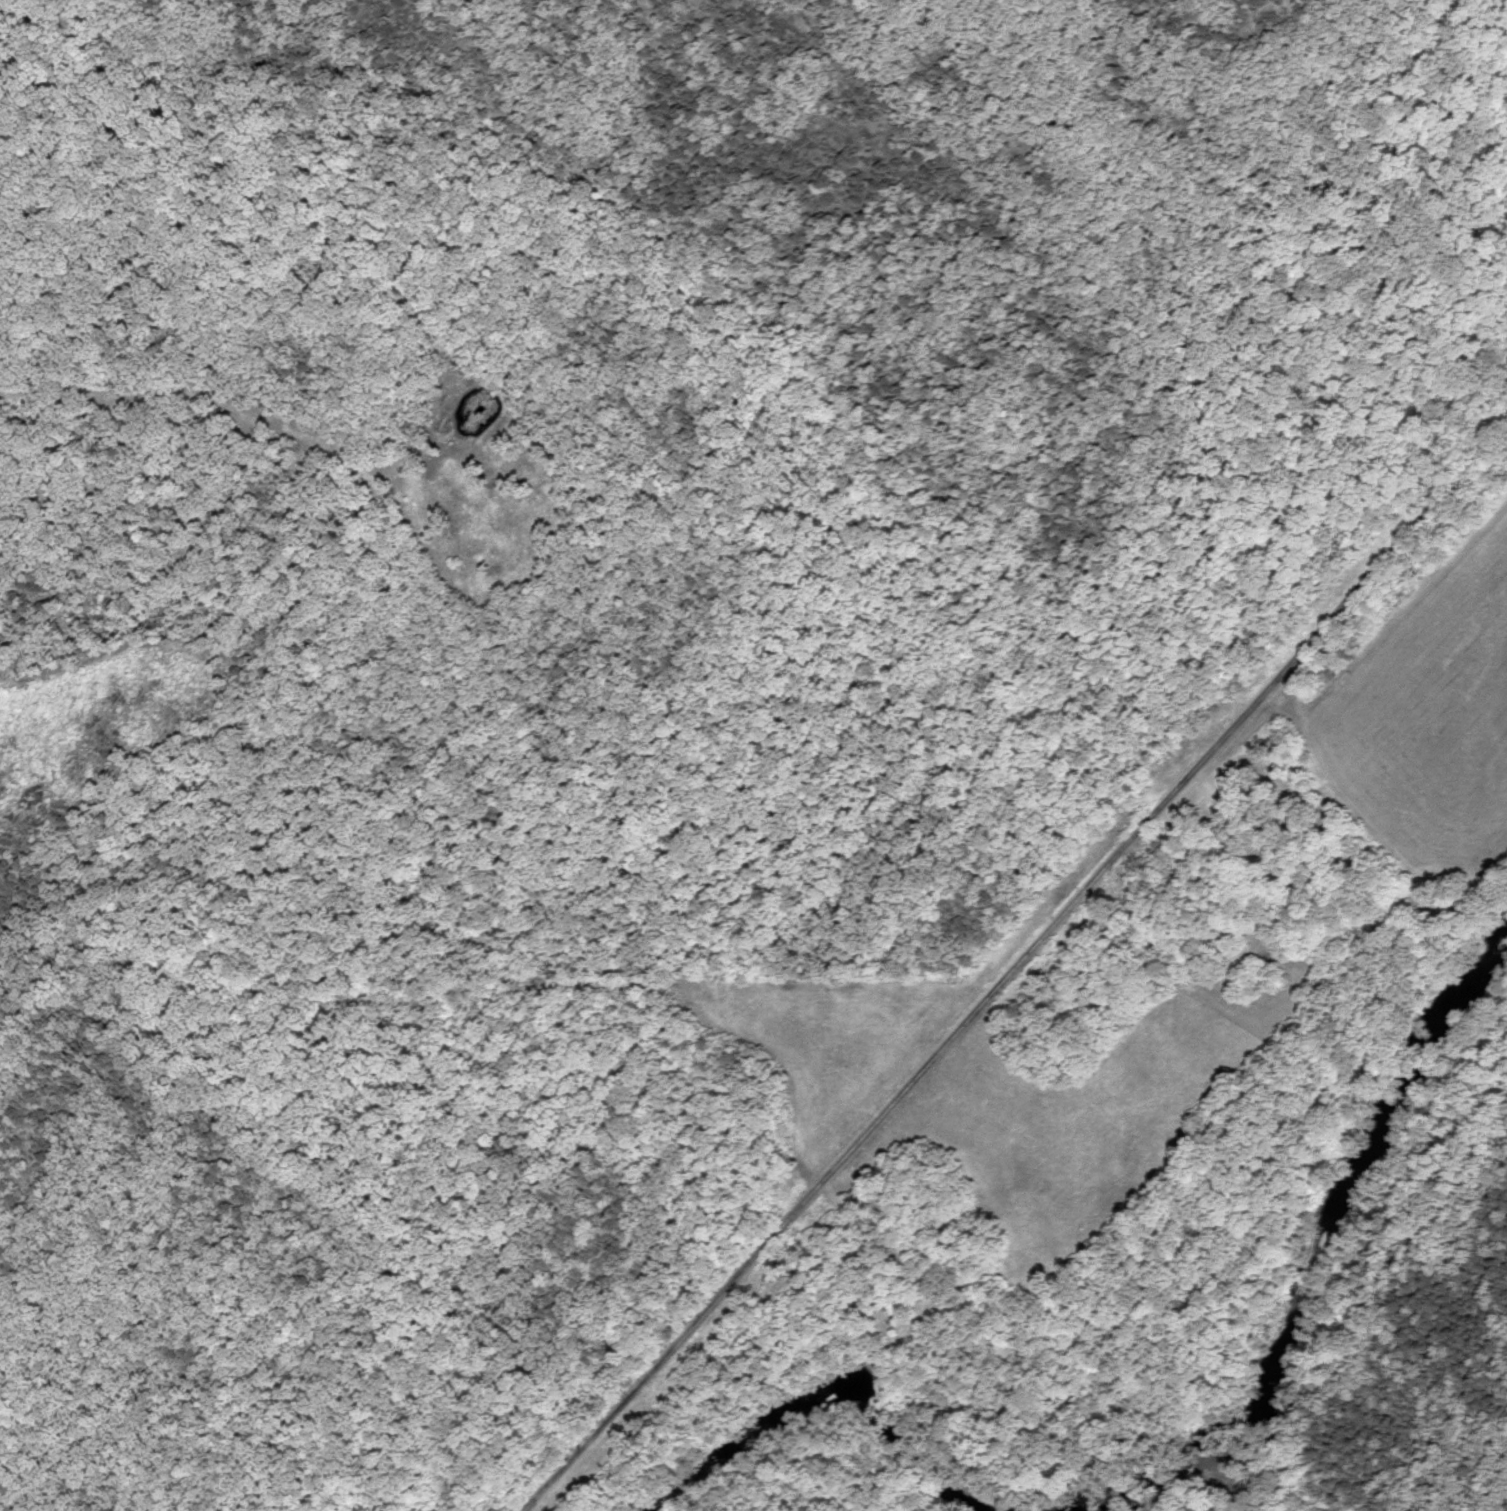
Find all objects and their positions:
river: (1323, 1278)
river: (843, 1395)

